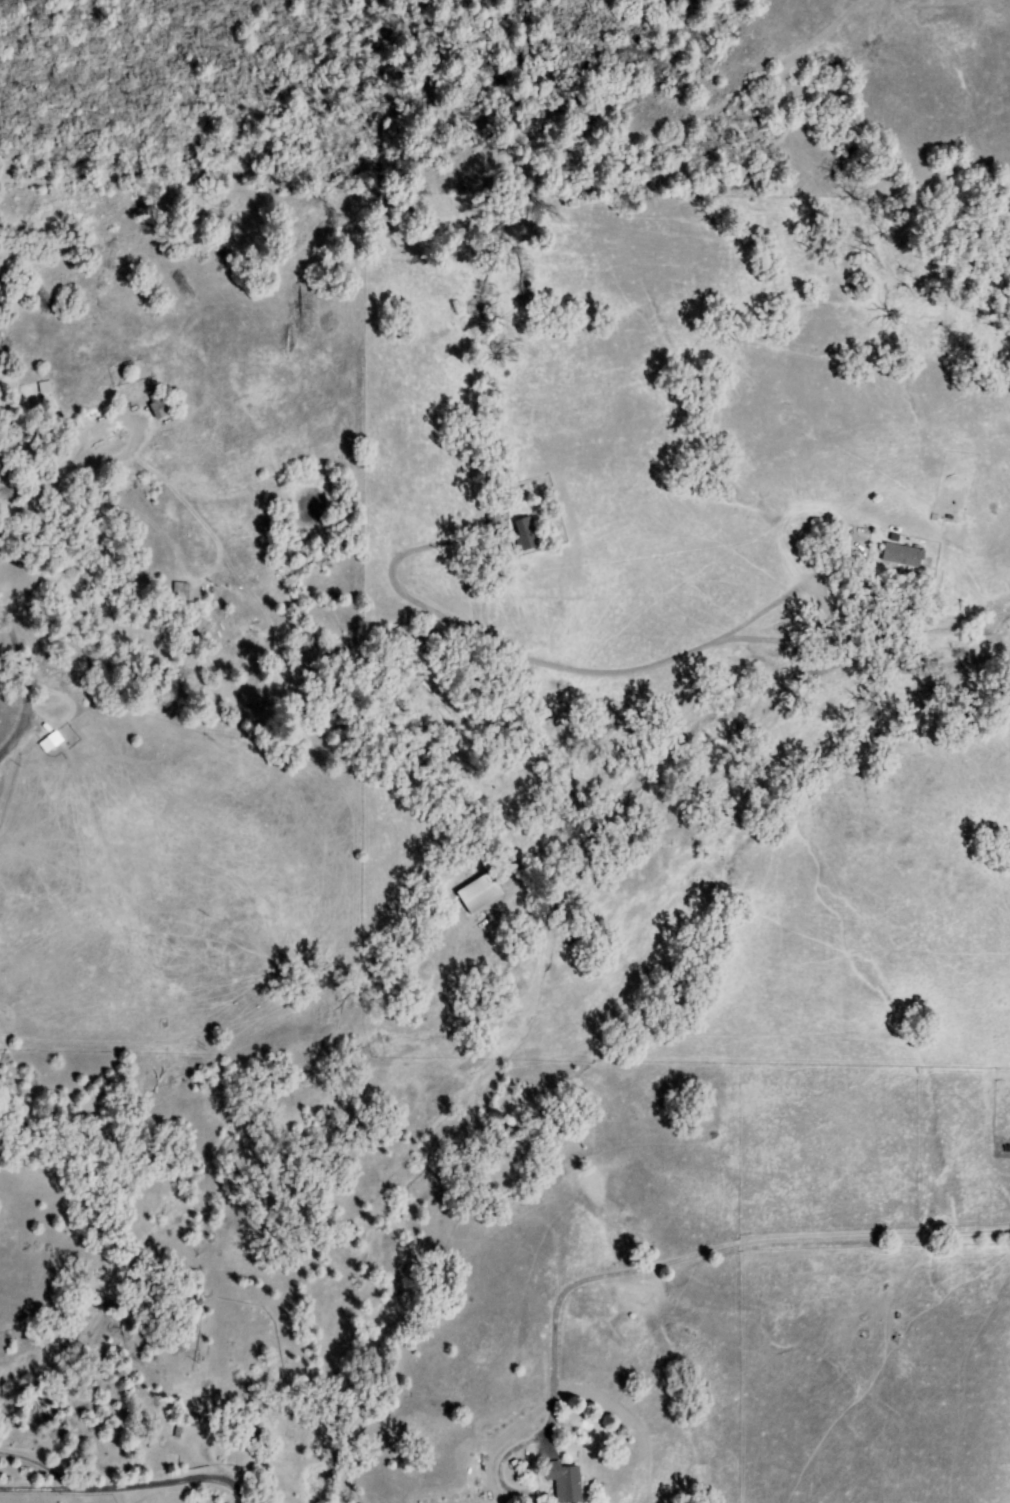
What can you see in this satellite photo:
building: (46, 387)
building: (162, 407)
building: (122, 483)
building: (526, 535)
building: (904, 556)
building: (181, 591)
building: (428, 643)
road: (982, 654)
road: (22, 731)
road: (15, 779)
building: (481, 894)
road: (777, 1111)
road: (56, 1177)
road: (56, 1225)
road: (220, 1310)
building: (251, 1433)
building: (565, 1482)
road: (132, 1485)

